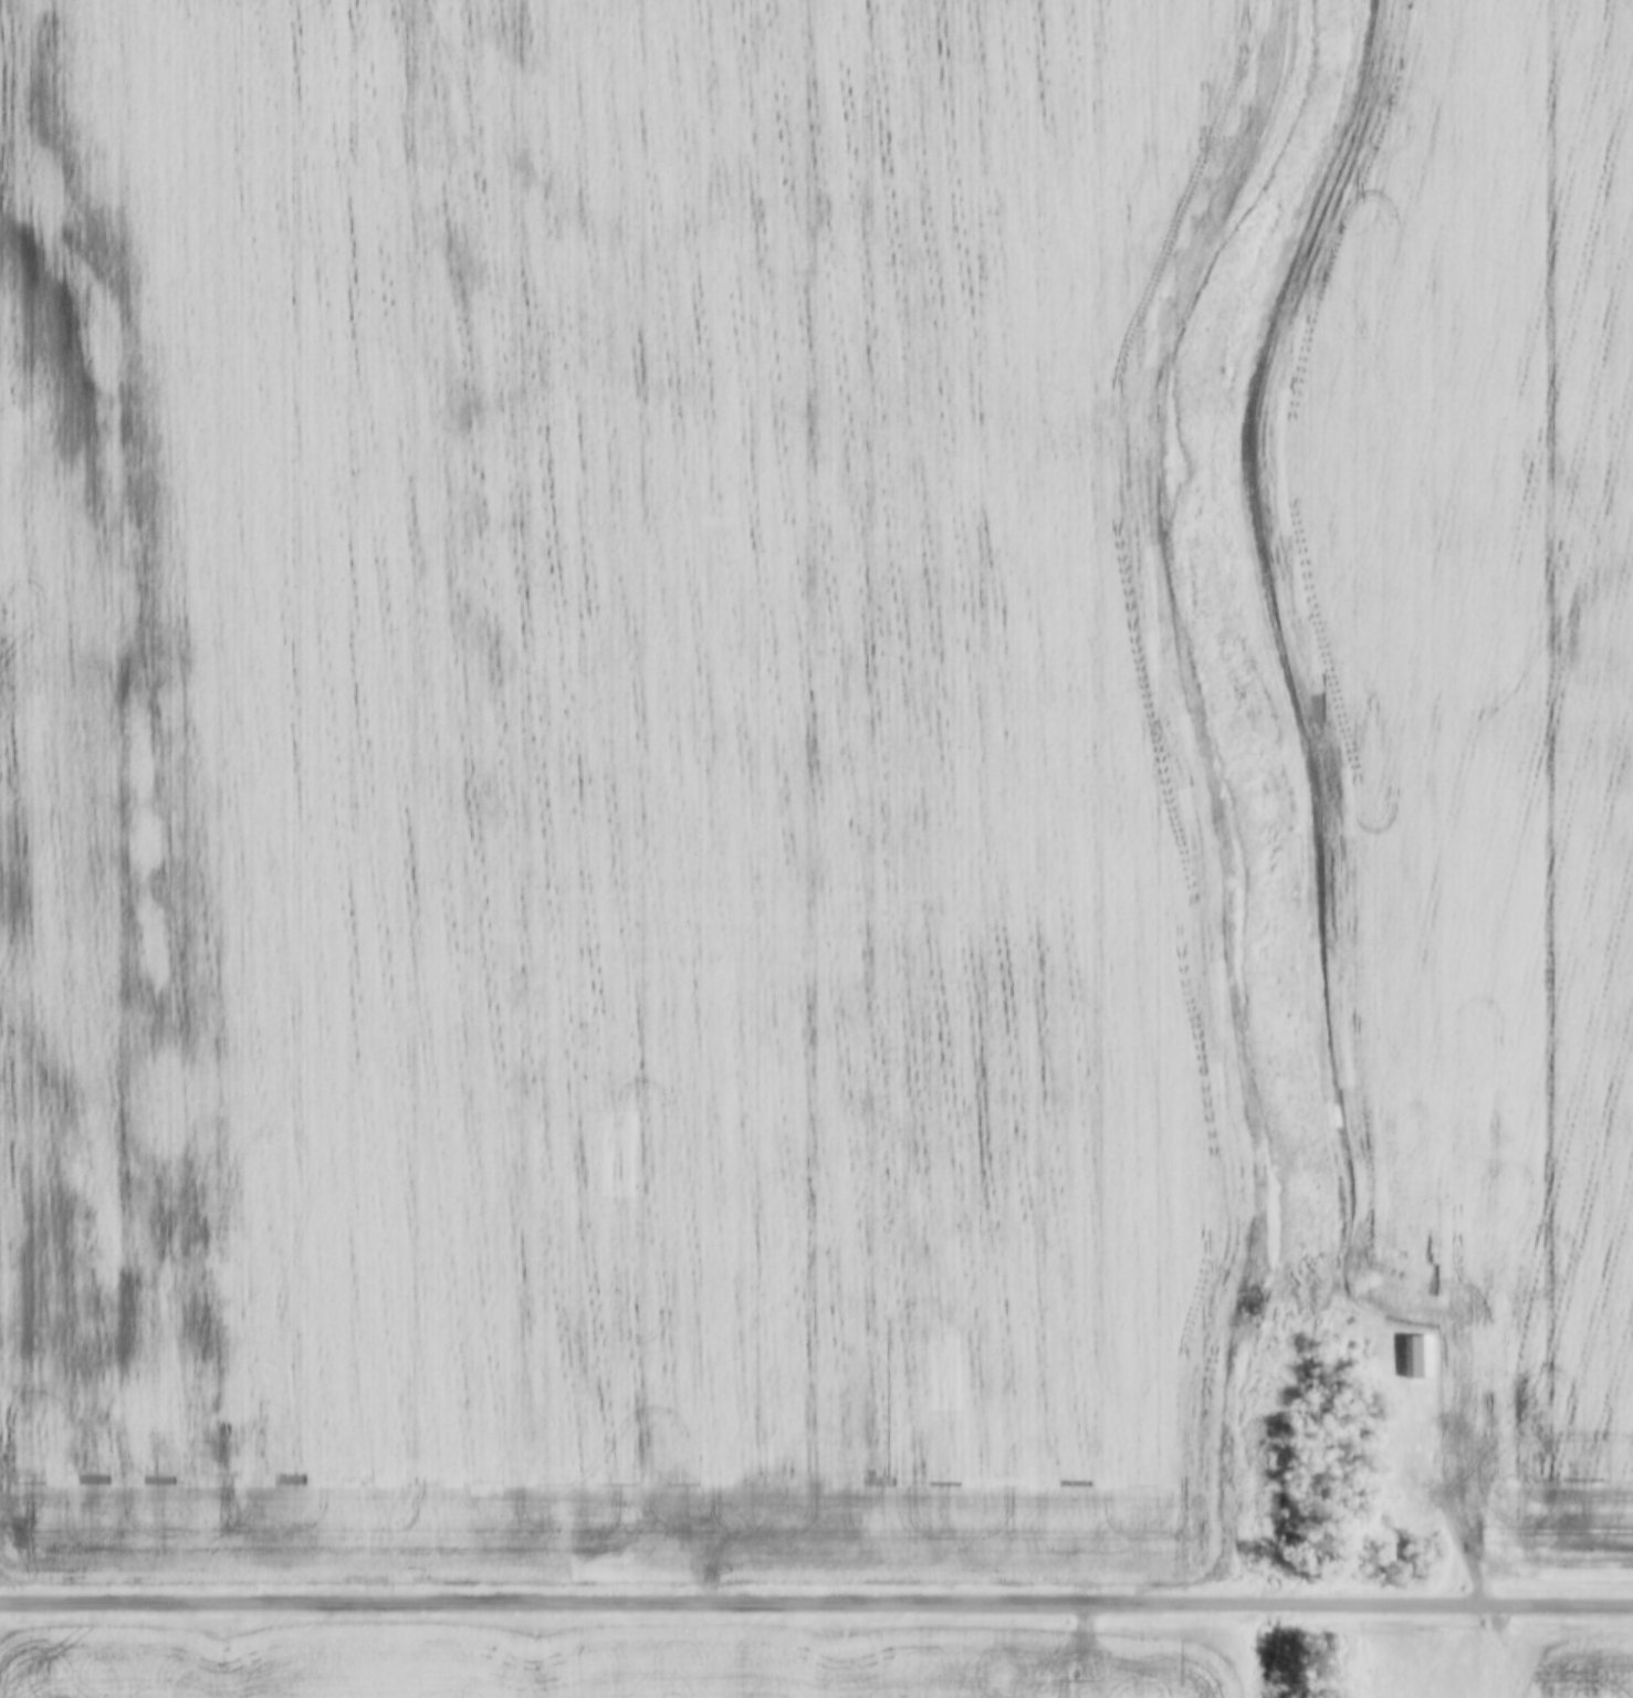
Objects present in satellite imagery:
road: (816, 1606)

